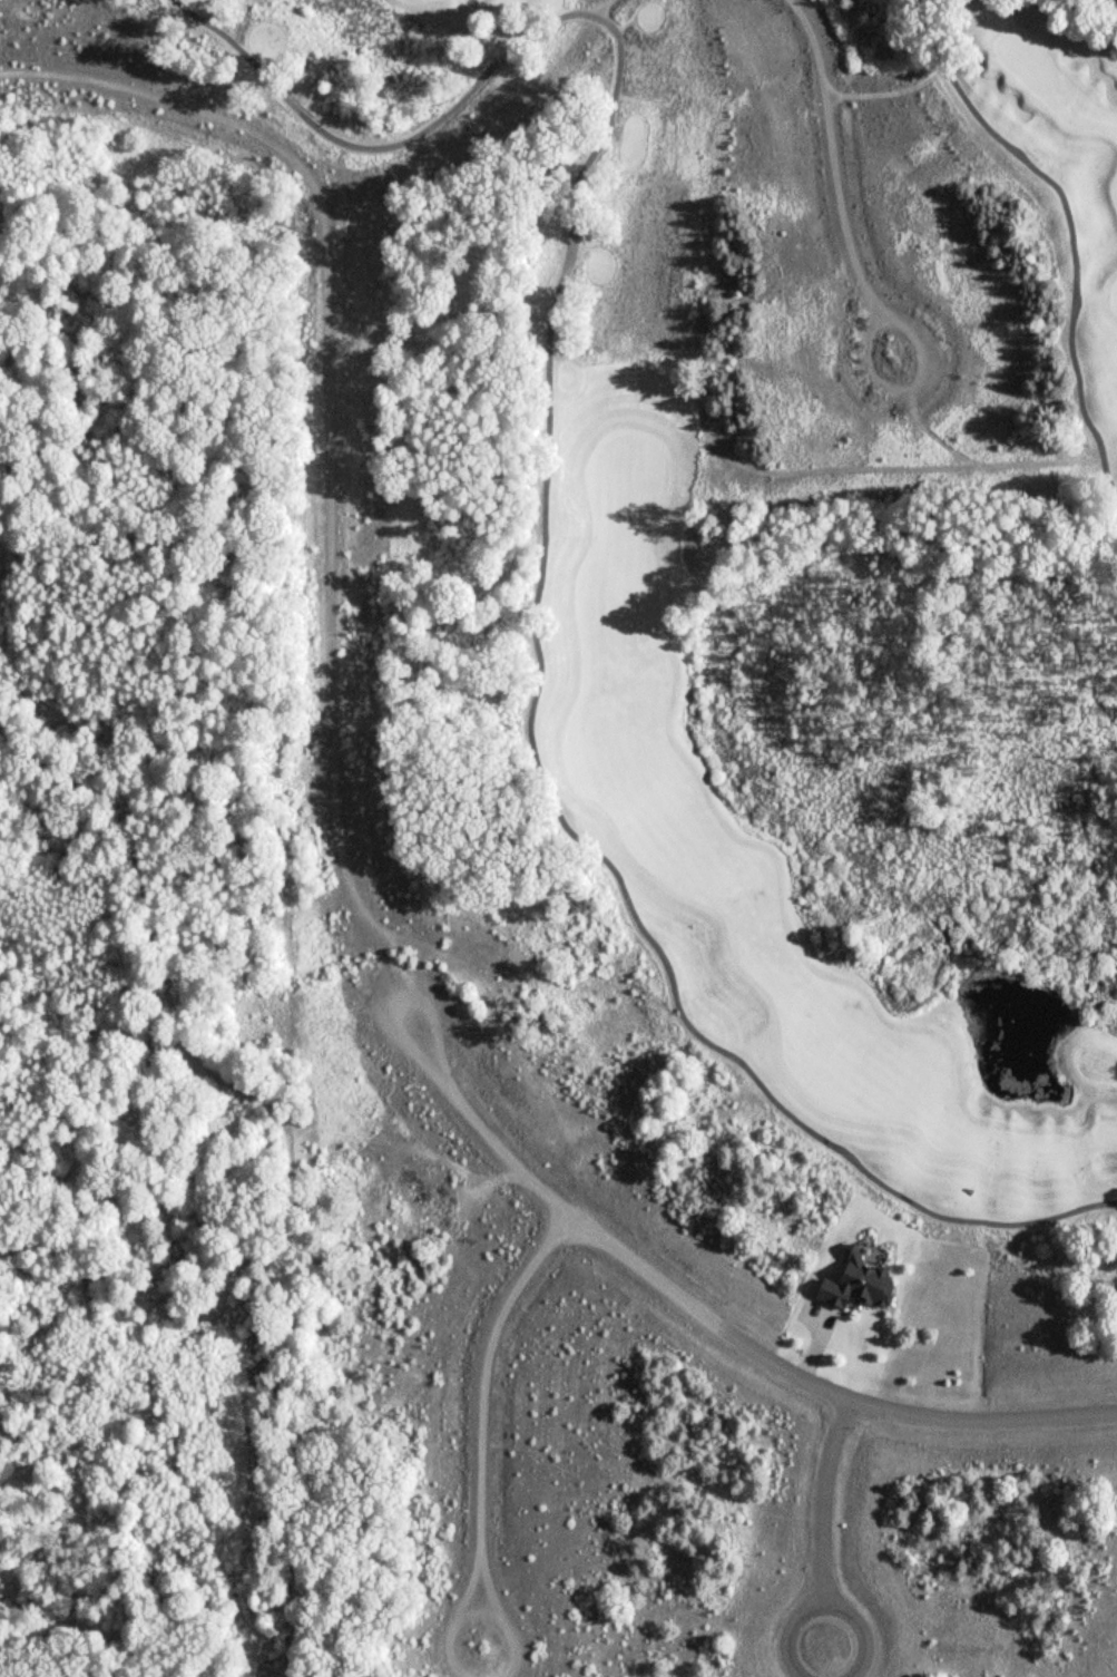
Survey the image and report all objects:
road: (599, 8)
road: (951, 18)
park: (1027, 59)
road: (878, 94)
road: (854, 263)
road: (1088, 423)
road: (931, 435)
road: (1107, 478)
road: (542, 520)
park: (777, 544)
park: (1105, 1130)
road: (709, 1322)
road: (480, 1415)
road: (824, 1500)
road: (861, 1634)
road: (786, 1635)

